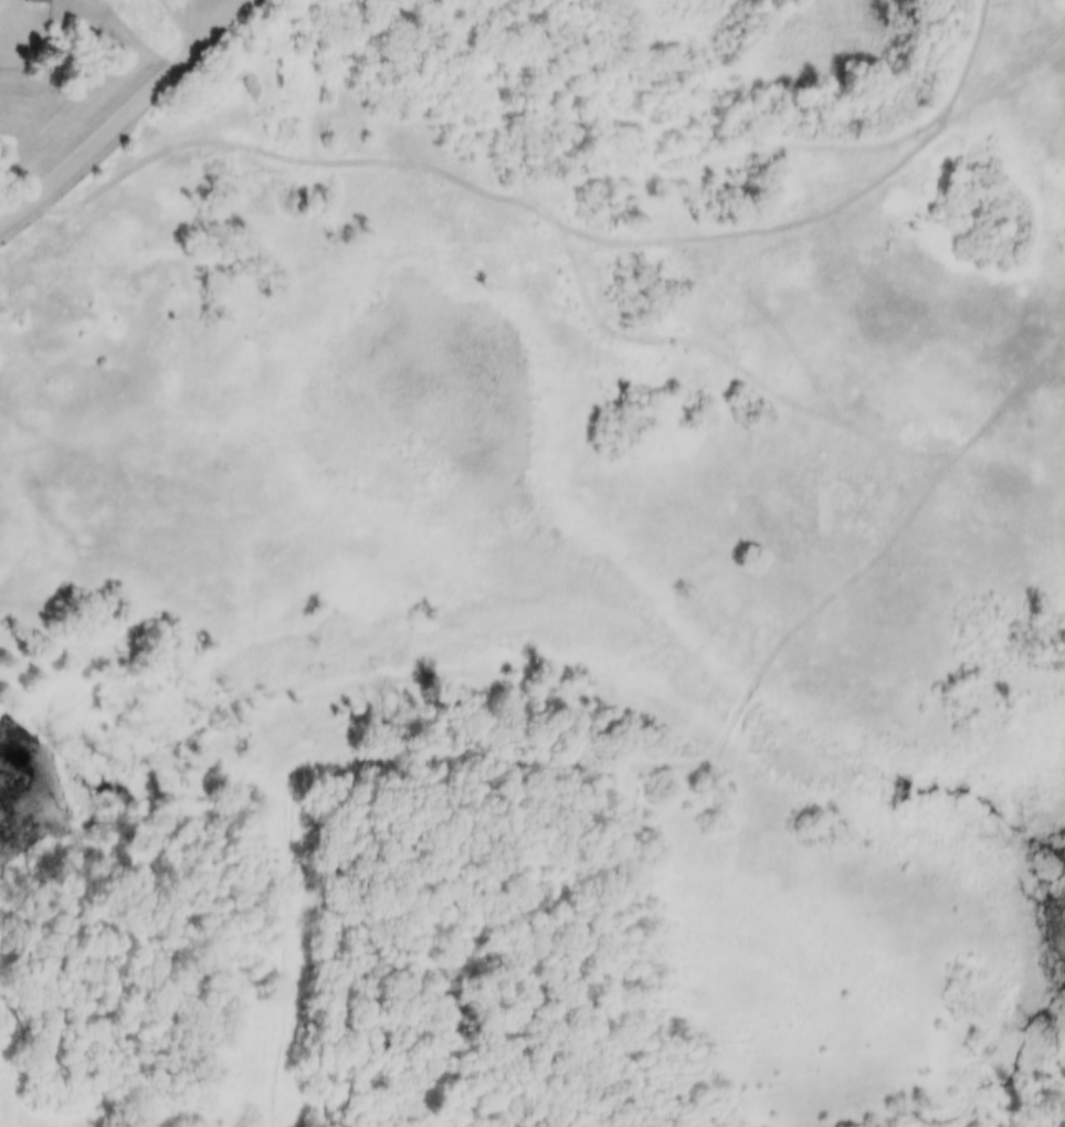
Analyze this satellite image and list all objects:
building: (38, 1)
building: (15, 27)
road: (123, 110)
road: (707, 346)

